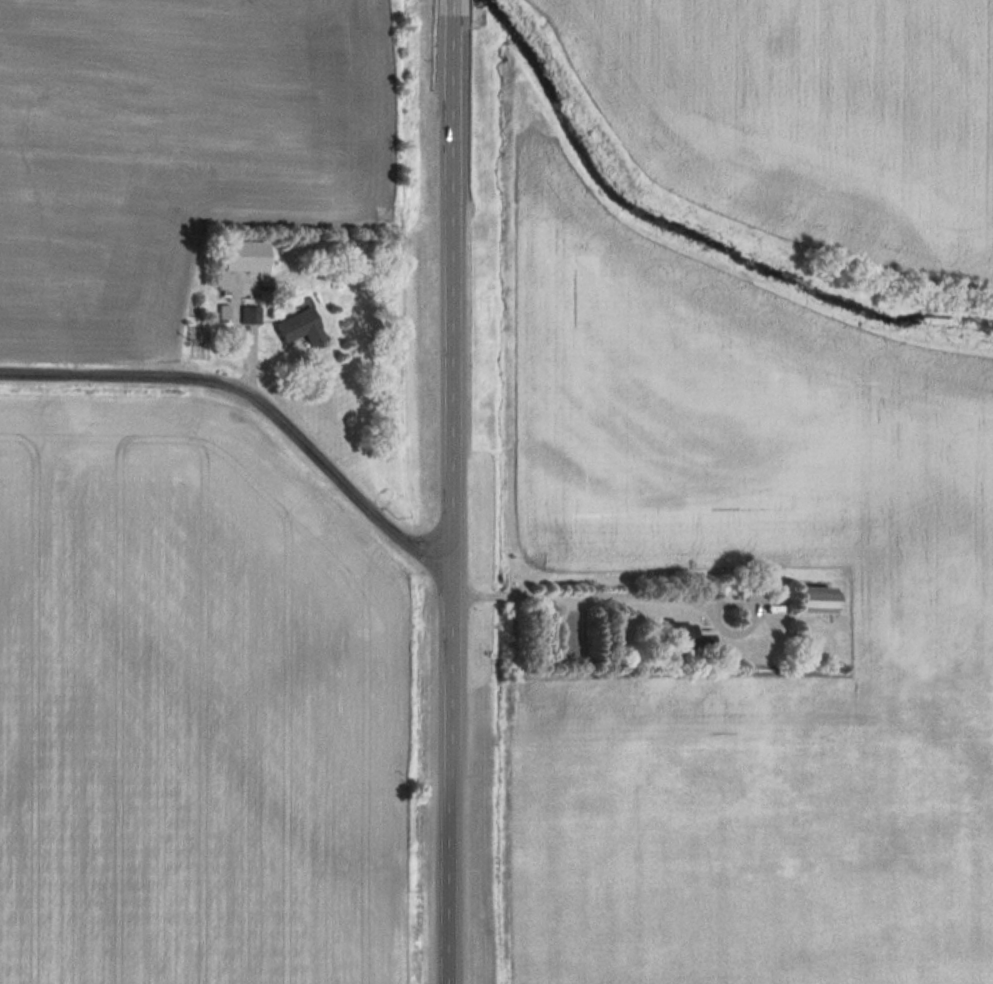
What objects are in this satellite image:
building: (242, 254)
building: (301, 326)
road: (234, 334)
road: (255, 400)
road: (451, 491)
road: (579, 597)
building: (817, 599)
building: (686, 633)

